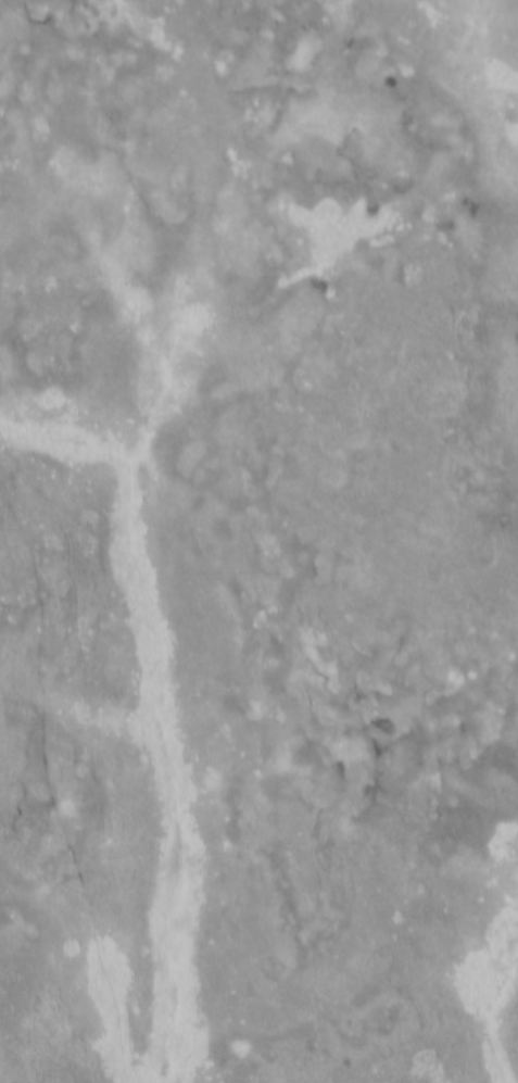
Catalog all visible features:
road: (517, 0)

